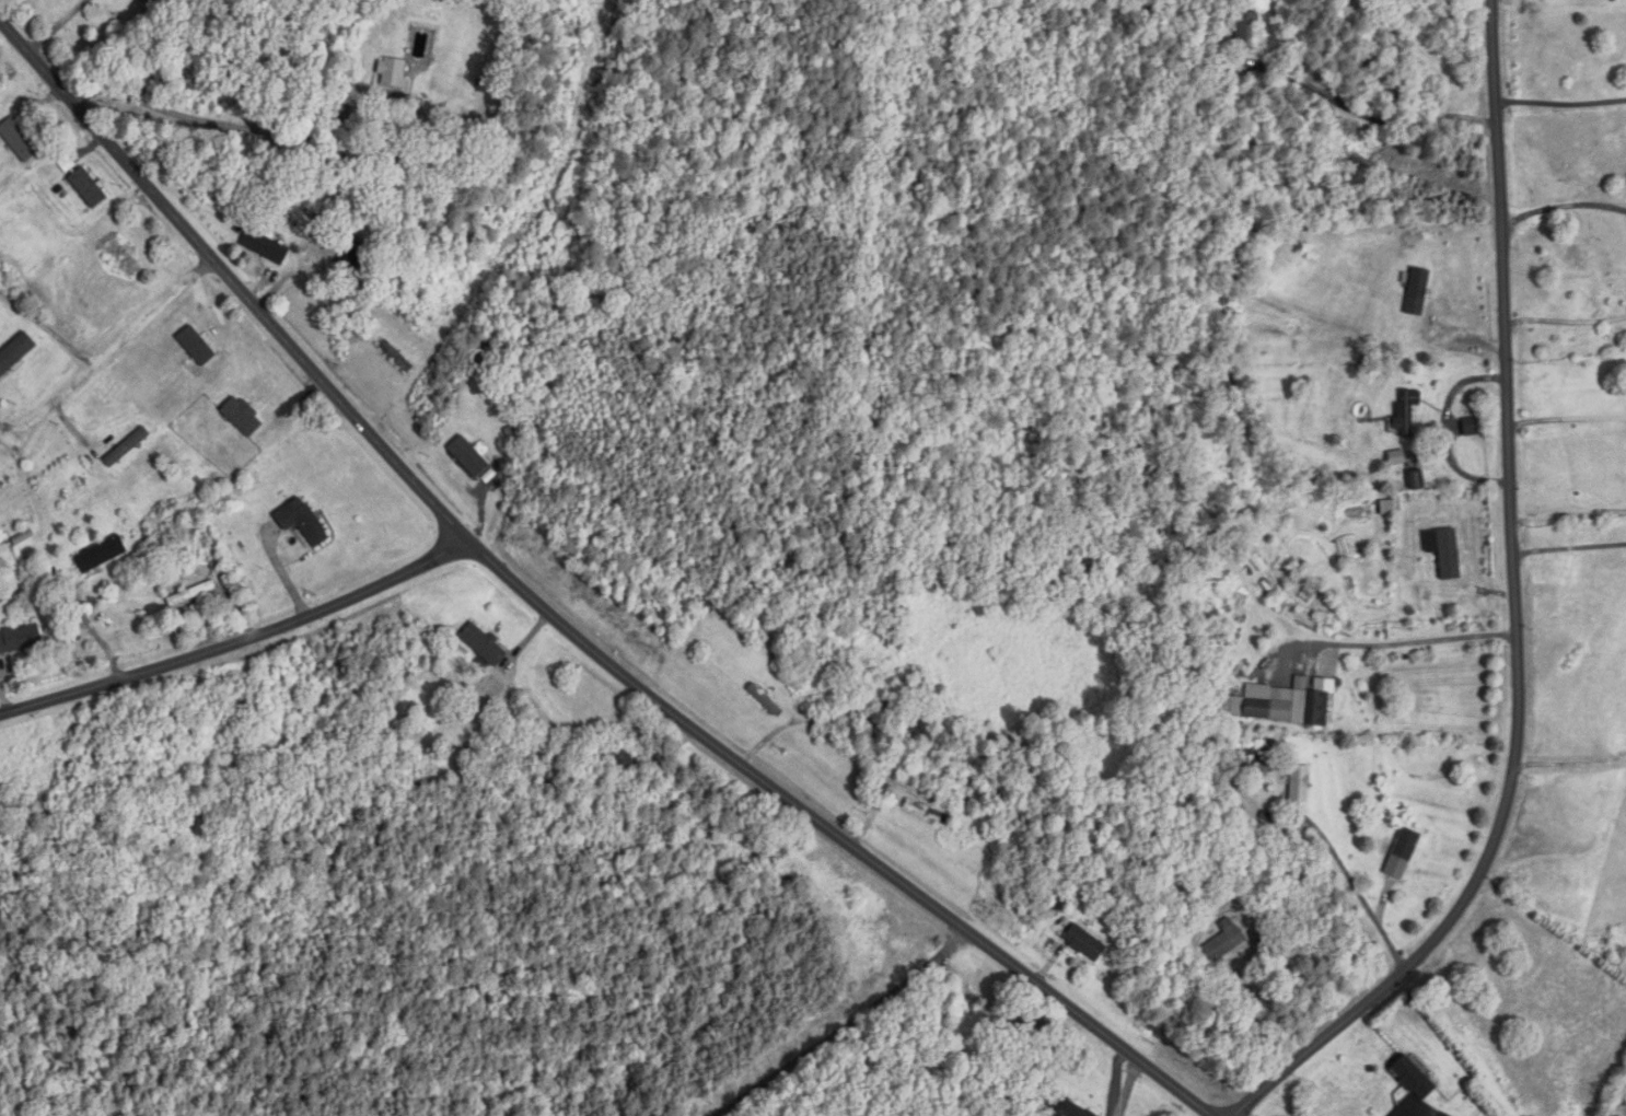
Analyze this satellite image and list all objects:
building: (147, 1)
road: (57, 25)
building: (1246, 32)
building: (393, 72)
road: (1561, 103)
road: (290, 131)
building: (19, 141)
building: (68, 165)
building: (89, 188)
road: (1561, 209)
building: (266, 247)
building: (124, 259)
building: (350, 259)
road: (1563, 322)
road: (45, 326)
building: (199, 342)
road: (104, 348)
building: (23, 359)
building: (1407, 411)
building: (243, 418)
road: (1563, 419)
building: (1474, 421)
building: (128, 449)
building: (1397, 458)
building: (1418, 481)
building: (72, 491)
road: (1568, 515)
building: (303, 522)
building: (14, 526)
building: (193, 594)
road: (1510, 613)
road: (557, 620)
building: (20, 639)
road: (1381, 644)
building: (484, 646)
road: (241, 647)
building: (765, 700)
building: (1280, 705)
building: (247, 709)
road: (863, 717)
building: (174, 720)
building: (921, 720)
building: (625, 760)
building: (928, 812)
building: (197, 827)
building: (1403, 855)
road: (1350, 879)
building: (1224, 943)
building: (1085, 944)
building: (1287, 965)
road: (1180, 986)
road: (846, 1027)
building: (1415, 1079)
road: (1616, 1100)
building: (1065, 1107)

